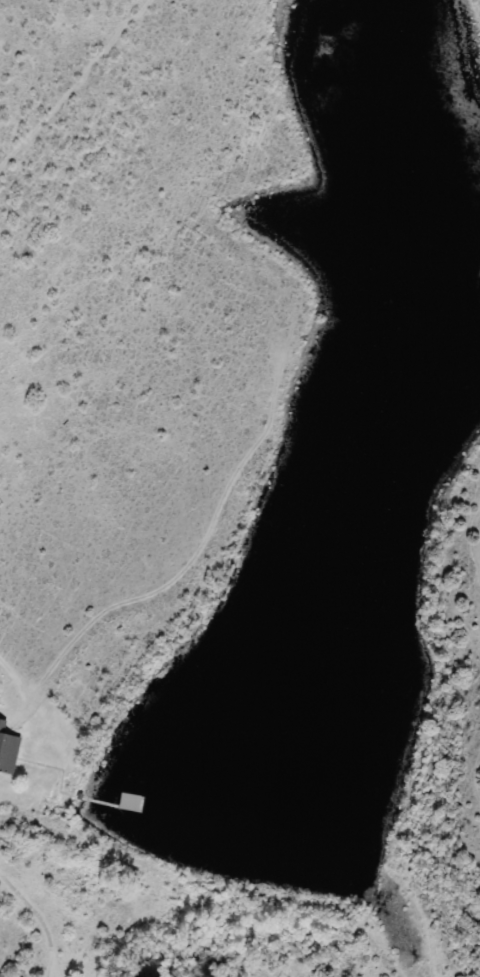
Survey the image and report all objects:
building: (8, 751)
road: (36, 923)

